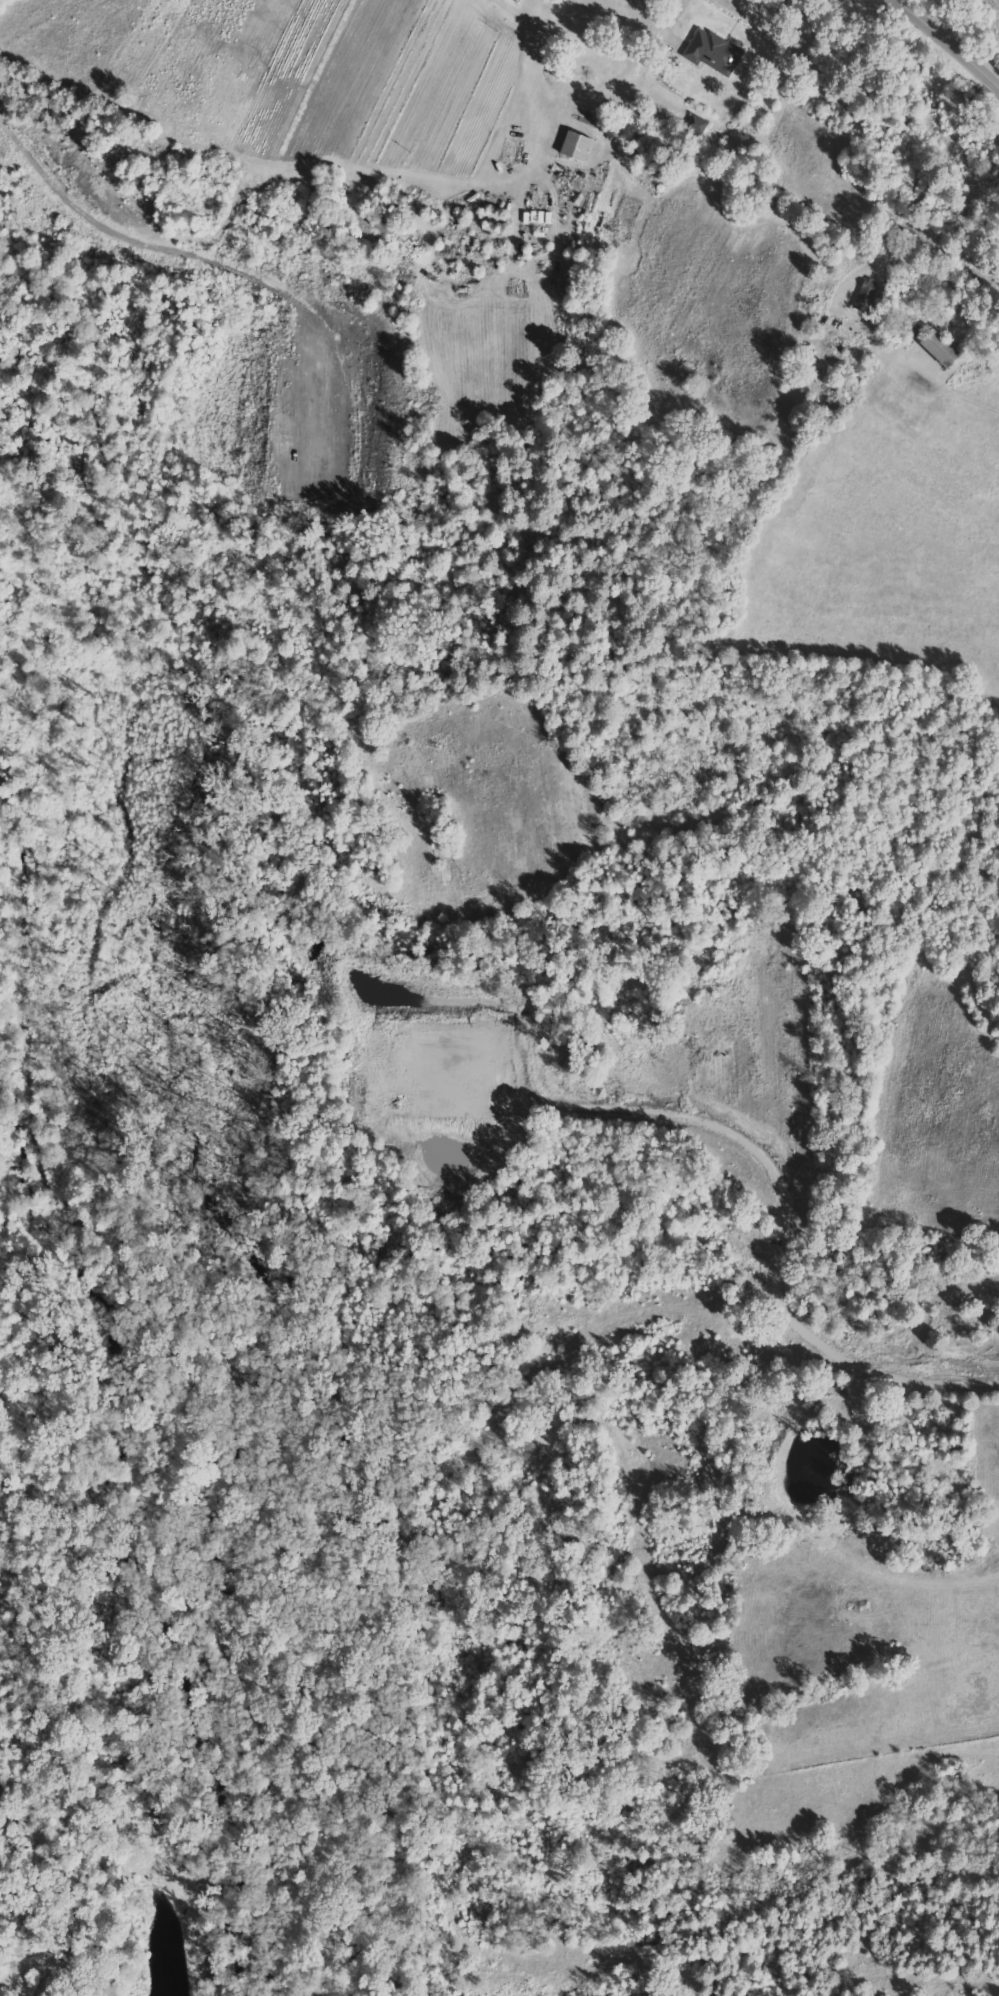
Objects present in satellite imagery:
road: (950, 40)
building: (715, 51)
building: (698, 126)
building: (579, 146)
building: (868, 295)
building: (943, 348)

